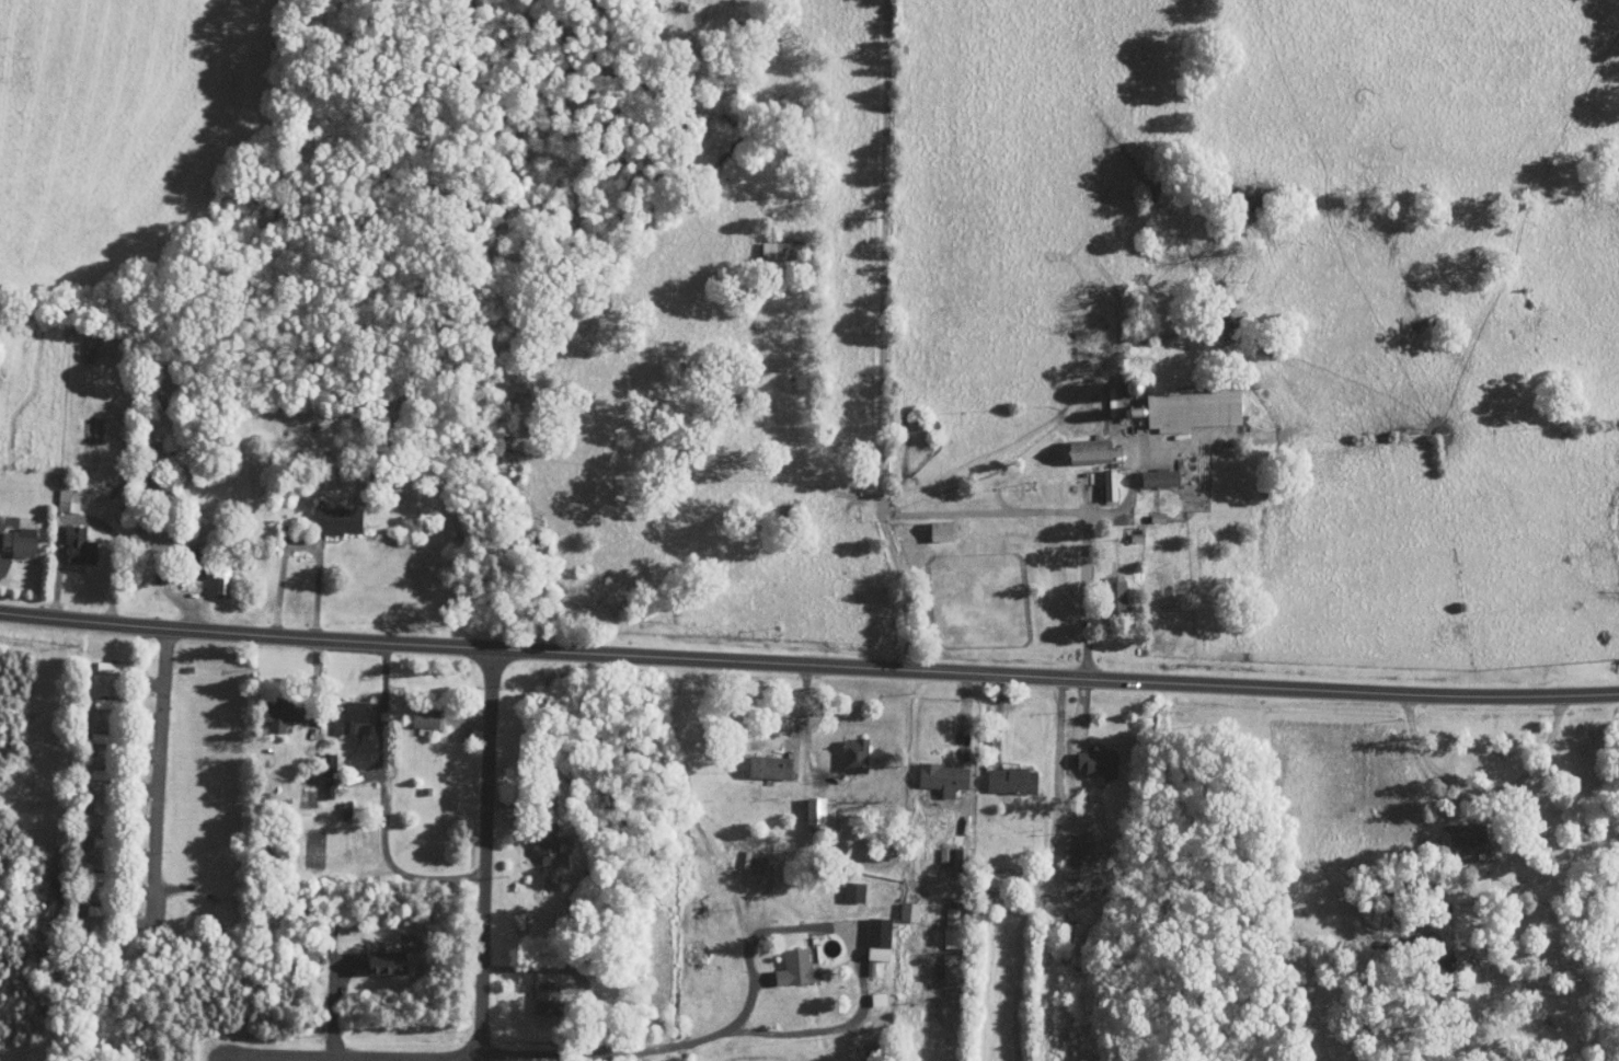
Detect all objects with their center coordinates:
building: (770, 242)
road: (881, 336)
building: (1181, 403)
building: (1150, 472)
building: (1099, 478)
road: (1133, 487)
building: (56, 494)
road: (983, 510)
building: (326, 512)
building: (931, 523)
building: (12, 534)
building: (143, 535)
building: (68, 538)
road: (117, 549)
road: (59, 568)
road: (320, 568)
building: (211, 574)
building: (1105, 588)
road: (1088, 596)
road: (184, 604)
road: (231, 609)
road: (808, 665)
road: (381, 677)
road: (805, 695)
building: (269, 705)
building: (343, 707)
building: (415, 710)
road: (999, 715)
road: (965, 716)
building: (843, 748)
building: (318, 756)
building: (1087, 757)
building: (759, 760)
building: (933, 770)
building: (1001, 773)
road: (160, 775)
road: (1057, 775)
road: (1470, 782)
building: (808, 803)
road: (518, 807)
road: (1429, 826)
building: (1458, 827)
building: (536, 834)
road: (383, 837)
building: (944, 850)
building: (1061, 850)
road: (487, 854)
building: (842, 885)
building: (898, 904)
building: (941, 920)
building: (868, 932)
road: (747, 950)
building: (377, 955)
building: (785, 961)
building: (941, 961)
road: (513, 973)
building: (535, 990)
building: (868, 992)
road: (330, 1004)
road: (352, 1057)

